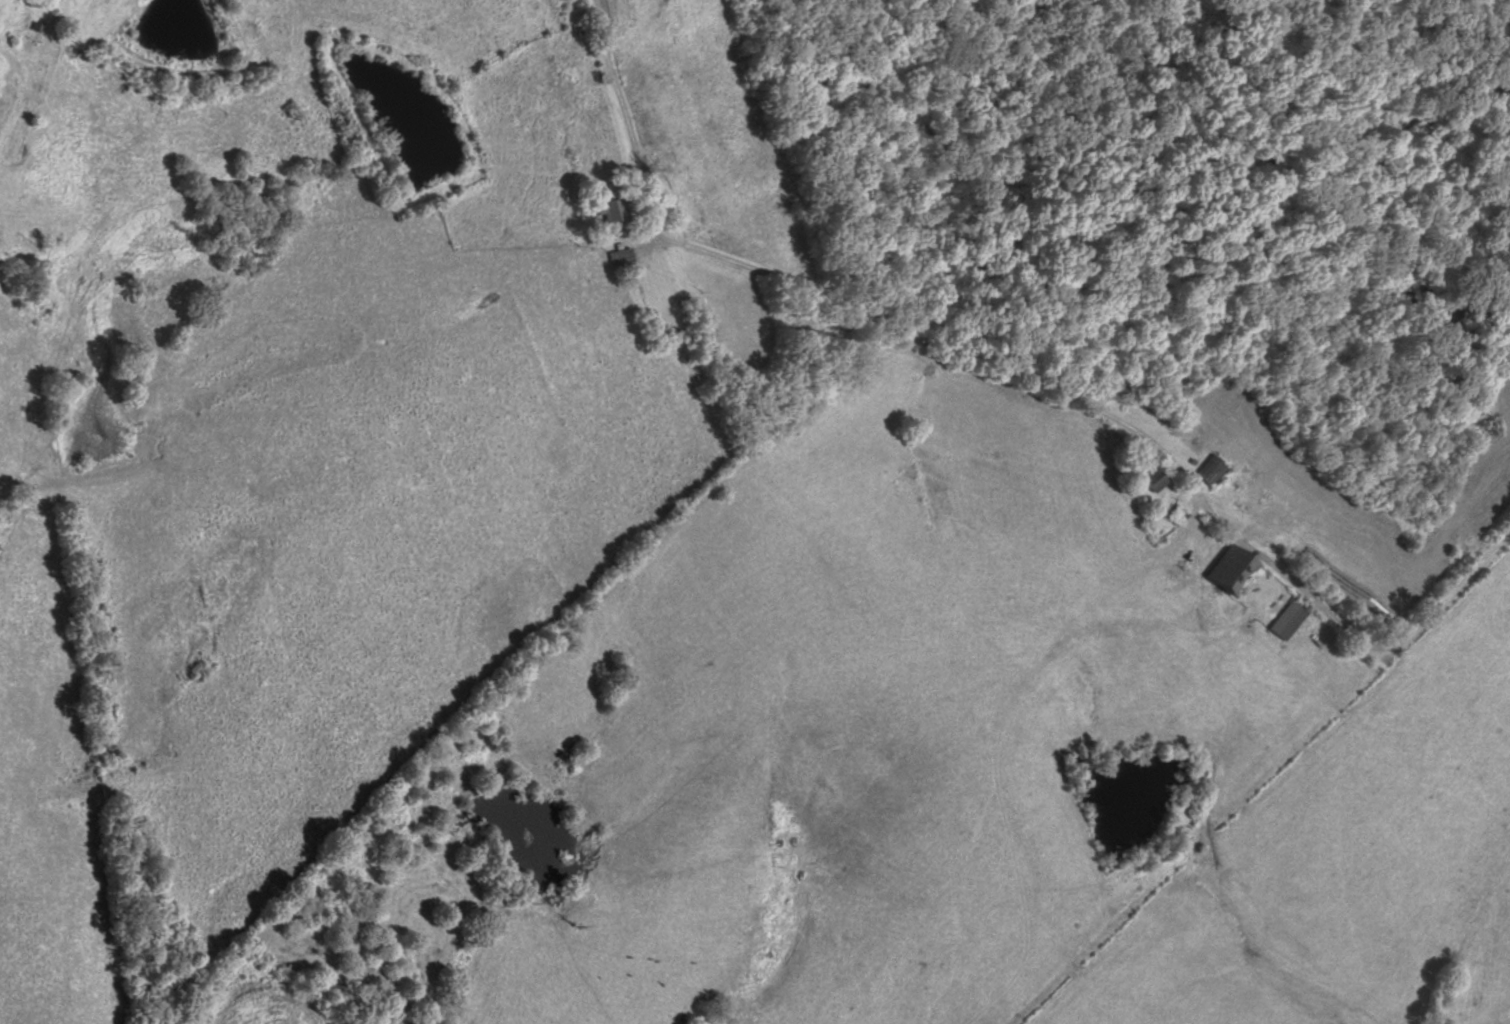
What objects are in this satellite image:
building: (615, 210)
road: (965, 374)
building: (1214, 471)
building: (1154, 477)
building: (1178, 516)
building: (1236, 568)
building: (1292, 618)

